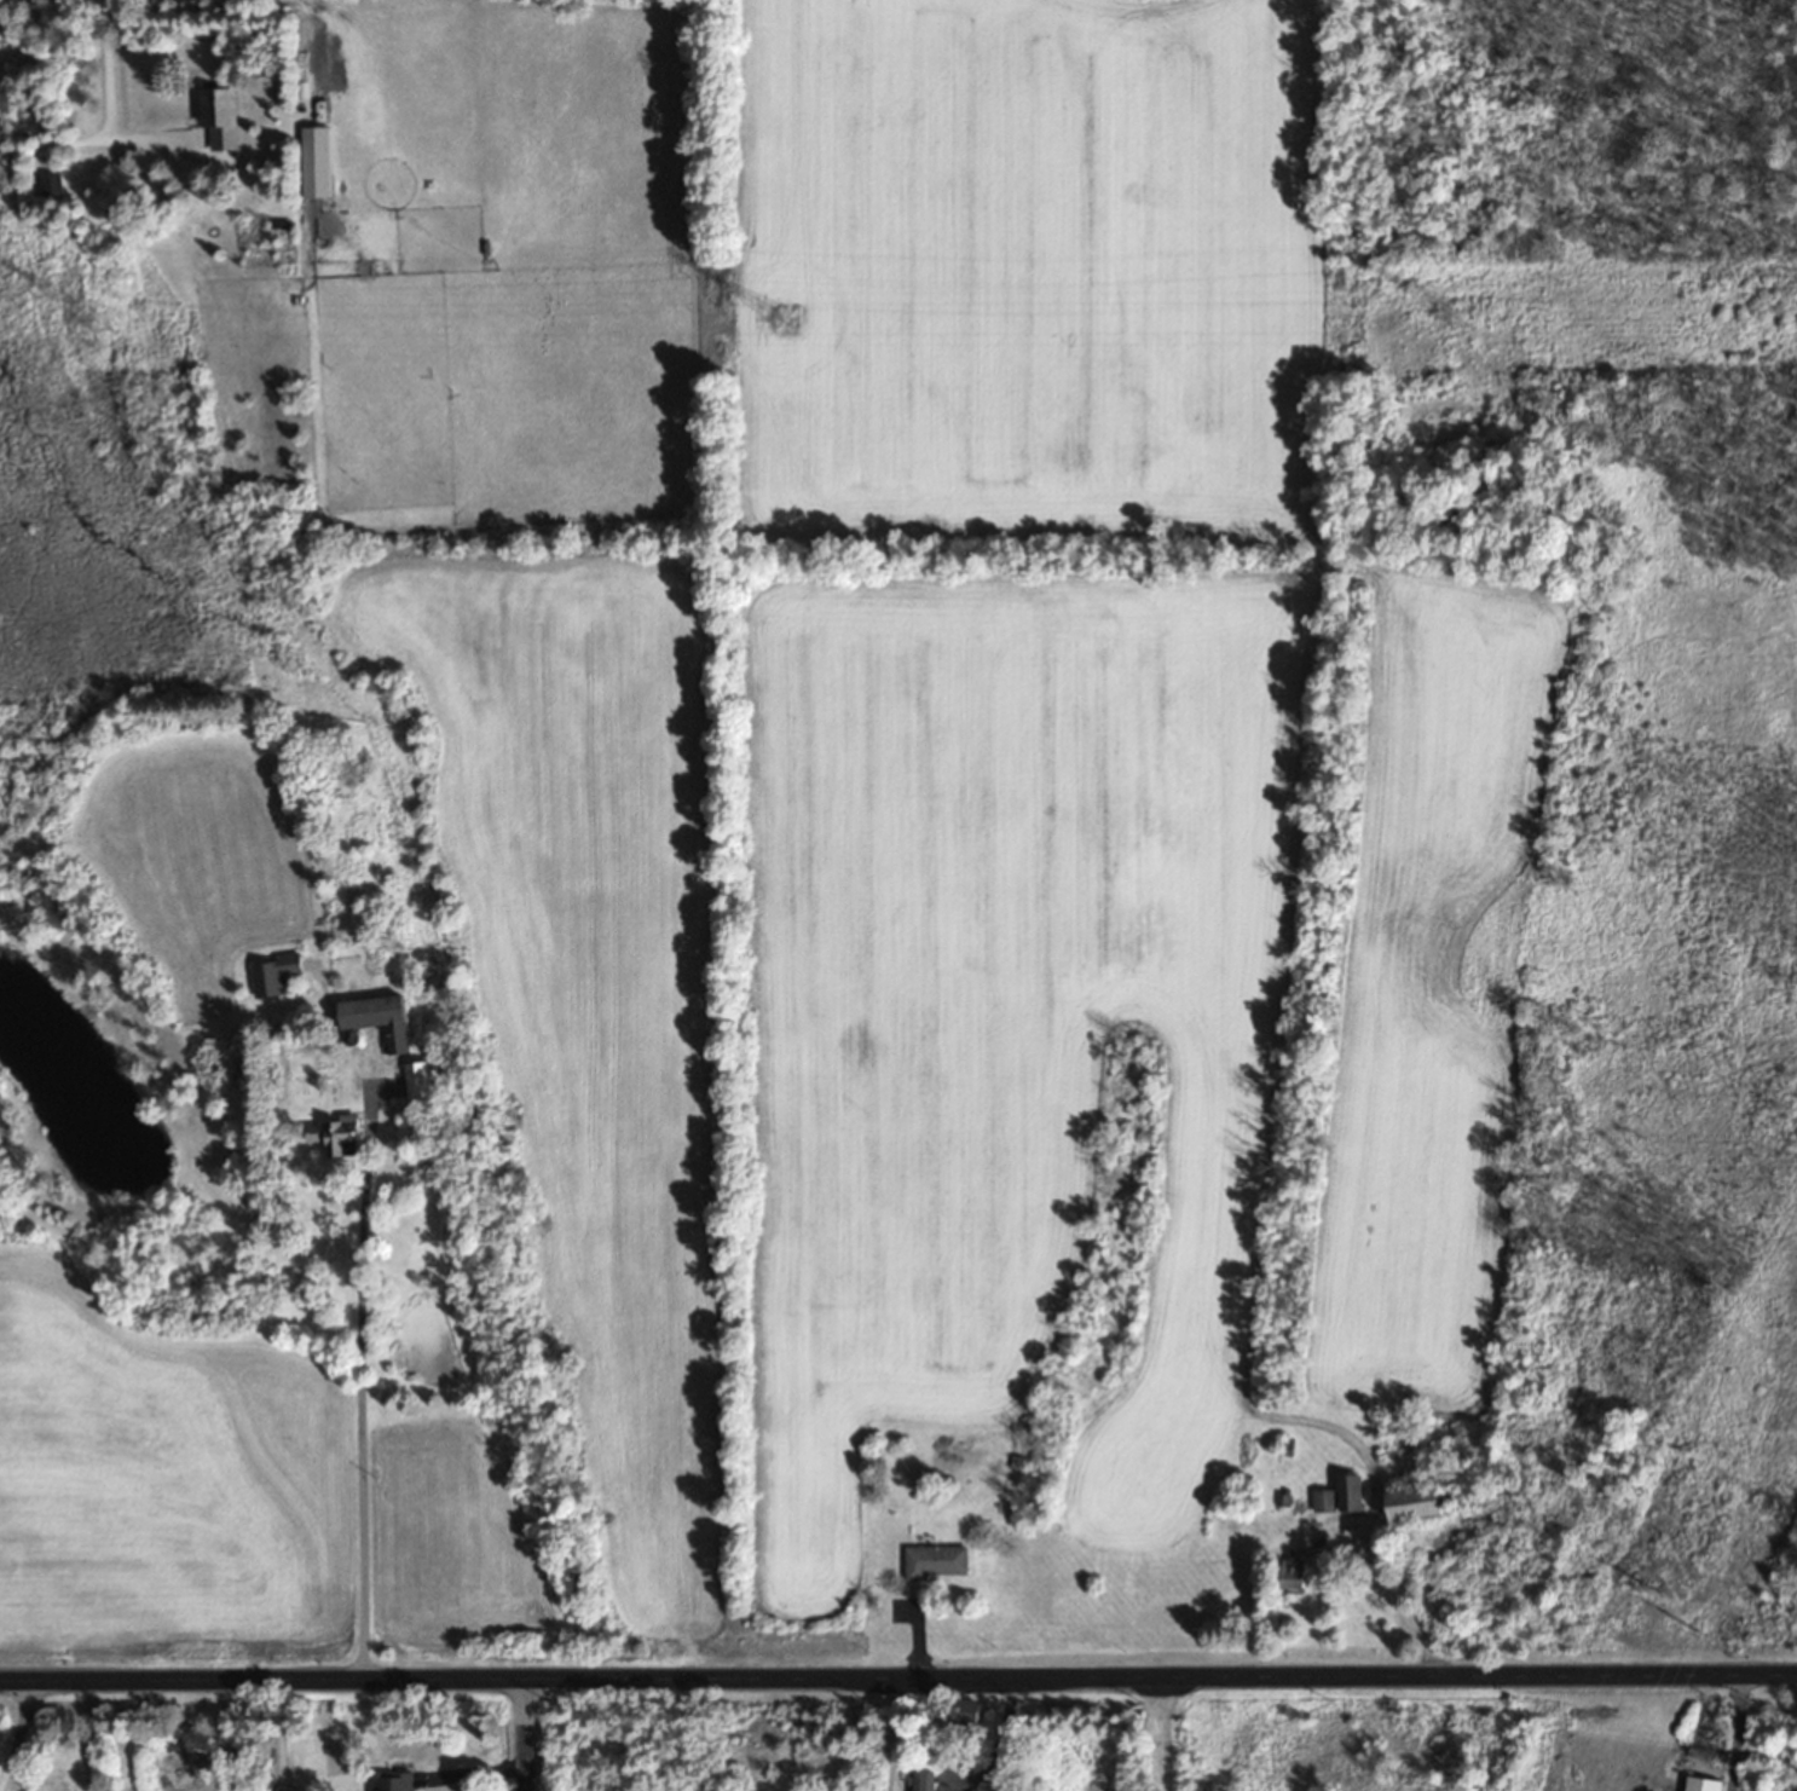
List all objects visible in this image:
road: (310, 42)
road: (108, 105)
building: (221, 121)
building: (318, 164)
building: (52, 187)
power tower: (105, 328)
power tower: (1462, 328)
power tower: (787, 329)
building: (277, 976)
building: (382, 1021)
building: (421, 1082)
building: (339, 1136)
road: (362, 1399)
building: (1352, 1496)
building: (1325, 1503)
building: (1418, 1506)
road: (1354, 1544)
building: (940, 1565)
building: (1299, 1571)
power tower: (1649, 1593)
power tower: (1700, 1636)
road: (897, 1681)
building: (971, 1715)
road: (1735, 1734)
road: (526, 1737)
road: (16, 1738)
building: (394, 1781)
building: (928, 1783)
building: (1704, 1785)

